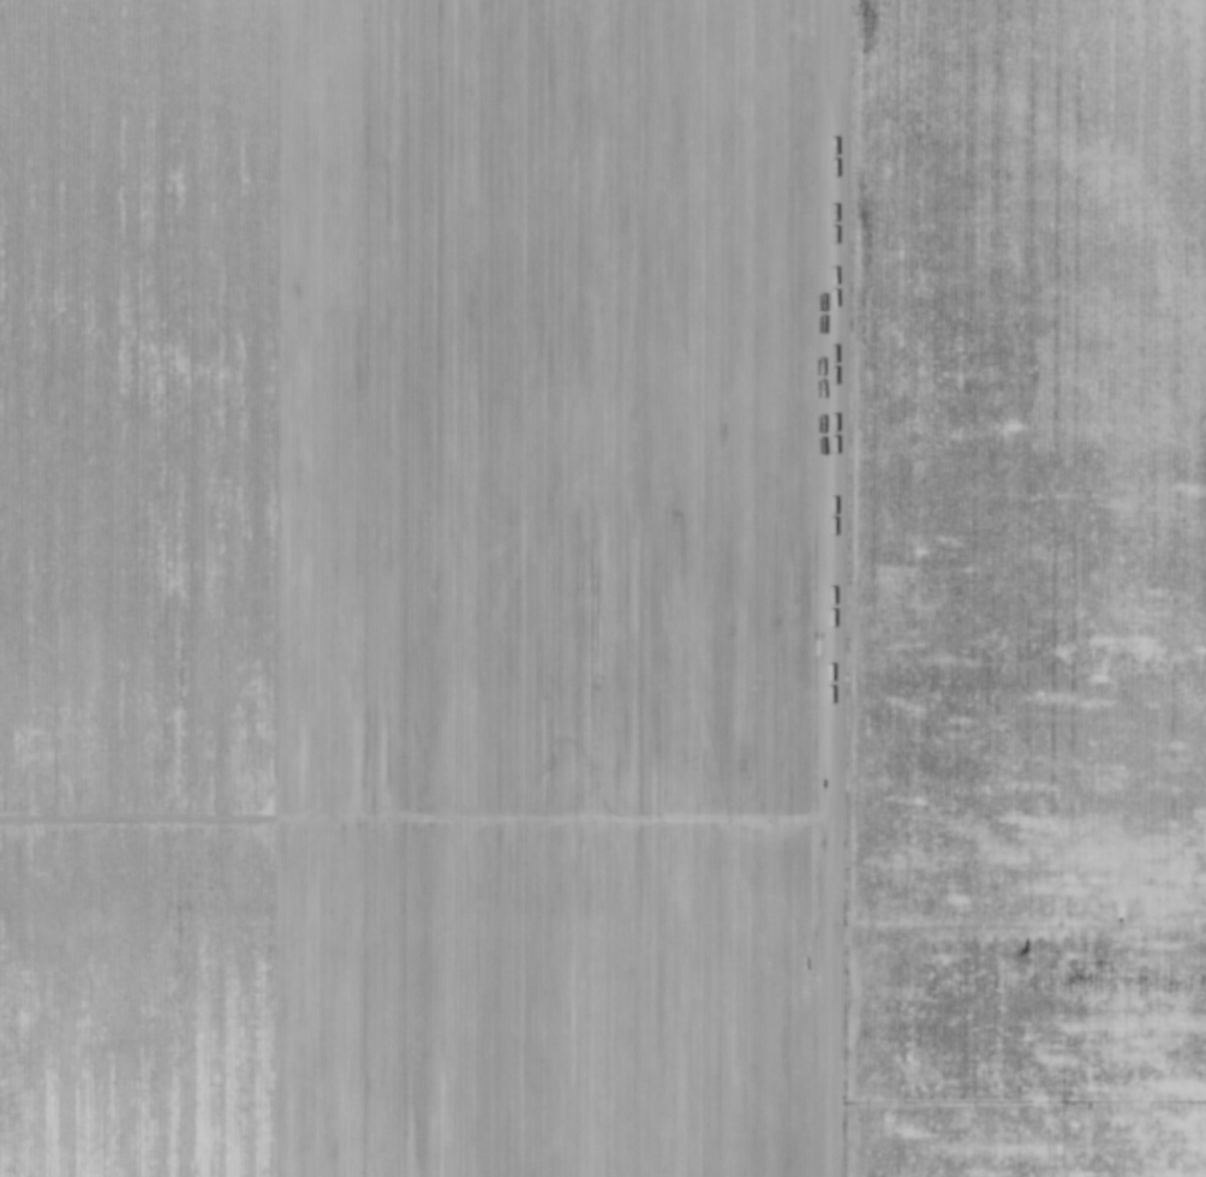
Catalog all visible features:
road: (831, 426)
crop: (561, 548)
crop: (1029, 998)

